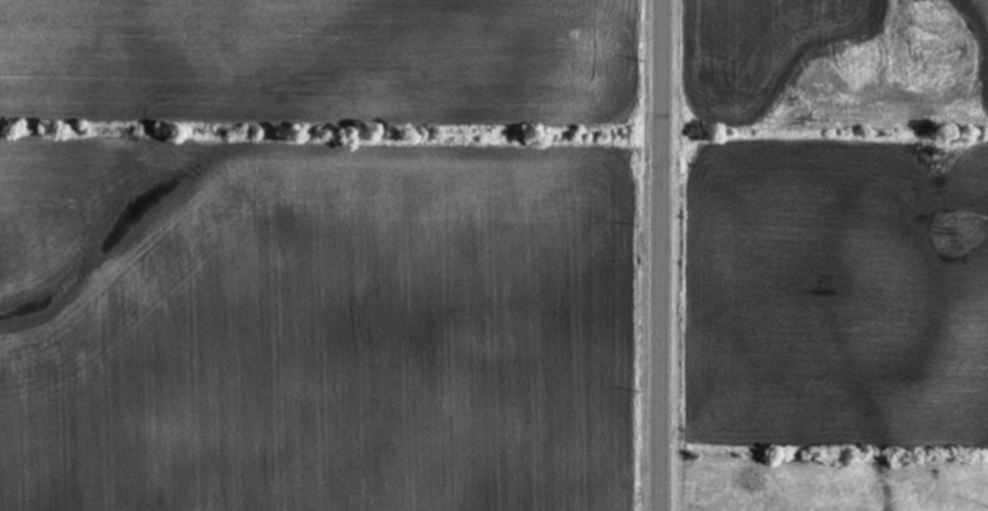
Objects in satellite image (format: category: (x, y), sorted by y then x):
road: (663, 255)

